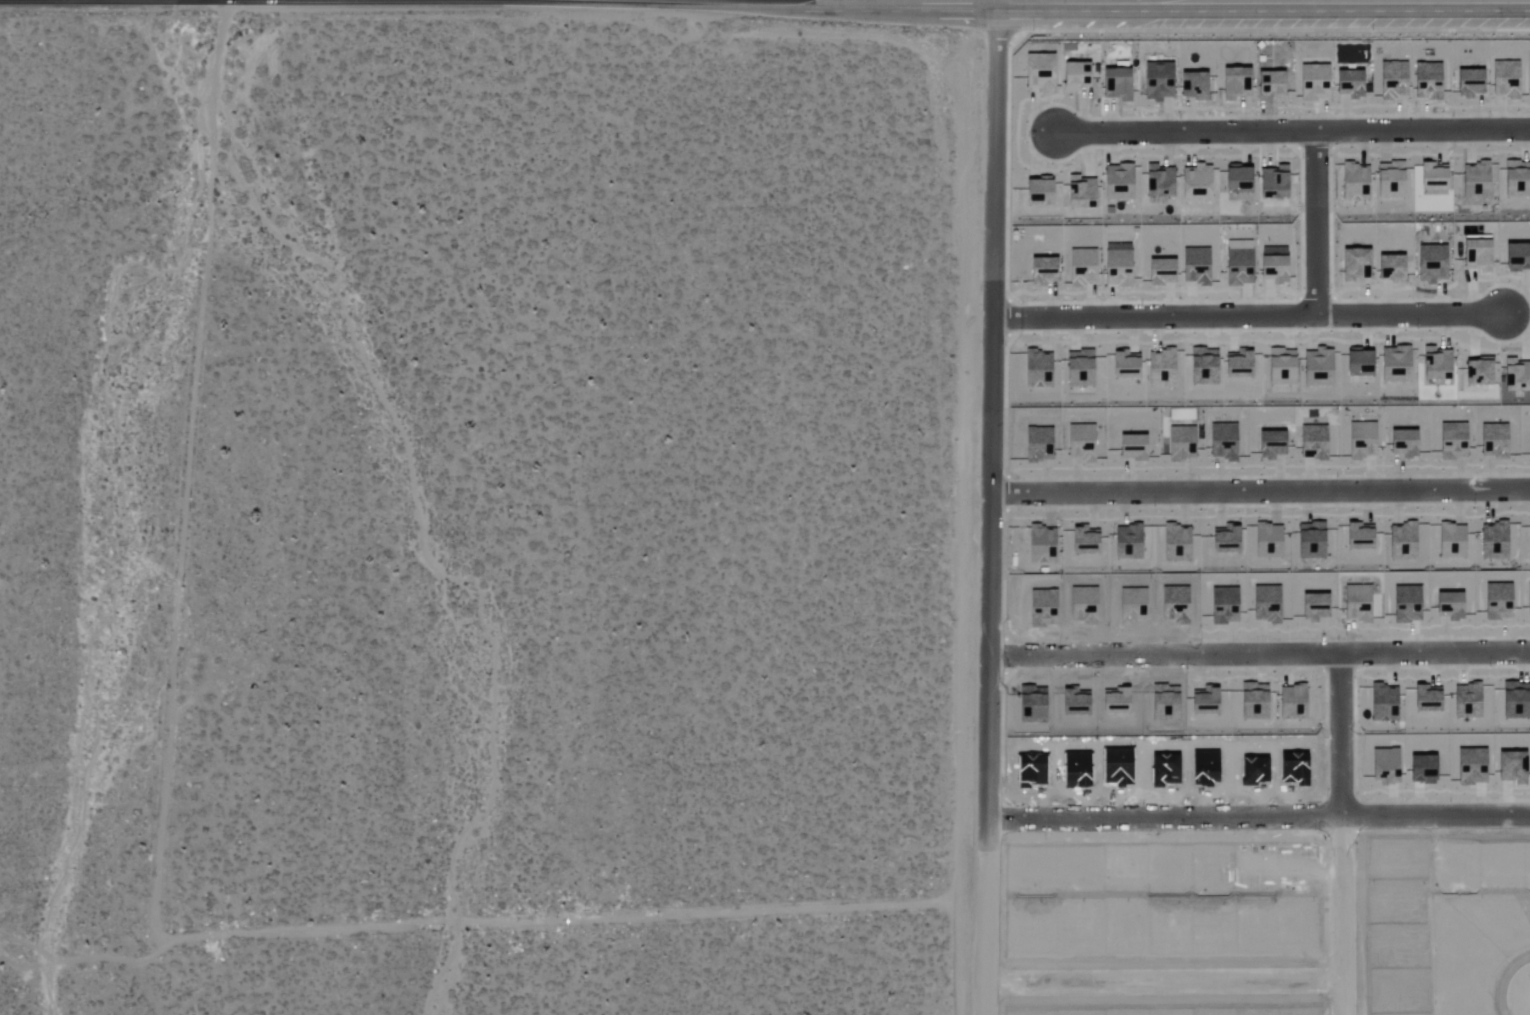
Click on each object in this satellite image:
road: (113, 0)
road: (998, 0)
road: (1206, 0)
building: (1038, 72)
building: (1073, 76)
building: (1504, 79)
building: (1156, 80)
building: (1312, 83)
building: (1467, 83)
building: (1115, 84)
building: (1234, 84)
building: (1347, 84)
building: (1268, 85)
building: (1191, 86)
road: (1293, 134)
building: (1517, 175)
building: (1431, 176)
building: (1118, 179)
building: (1158, 180)
building: (1235, 180)
building: (1353, 180)
building: (1389, 180)
building: (1474, 181)
building: (1272, 182)
building: (1036, 188)
building: (1081, 189)
road: (1316, 224)
road: (996, 246)
building: (1476, 255)
building: (1515, 257)
building: (1352, 264)
building: (1116, 268)
building: (1272, 269)
building: (1389, 269)
building: (1041, 271)
road: (1248, 315)
building: (1394, 361)
building: (1357, 363)
building: (1433, 364)
building: (1124, 365)
building: (1161, 366)
building: (1036, 369)
building: (1078, 369)
building: (1477, 373)
building: (1516, 375)
building: (1319, 447)
building: (1402, 448)
building: (1270, 451)
building: (1228, 455)
road: (1262, 490)
building: (1529, 536)
building: (1269, 537)
building: (1357, 537)
building: (1224, 538)
building: (1452, 538)
building: (1126, 541)
building: (1309, 541)
building: (1497, 546)
road: (1255, 658)
road: (979, 753)
road: (1254, 812)
road: (1343, 836)
road: (486, 923)
road: (1160, 983)
road: (1525, 1000)

